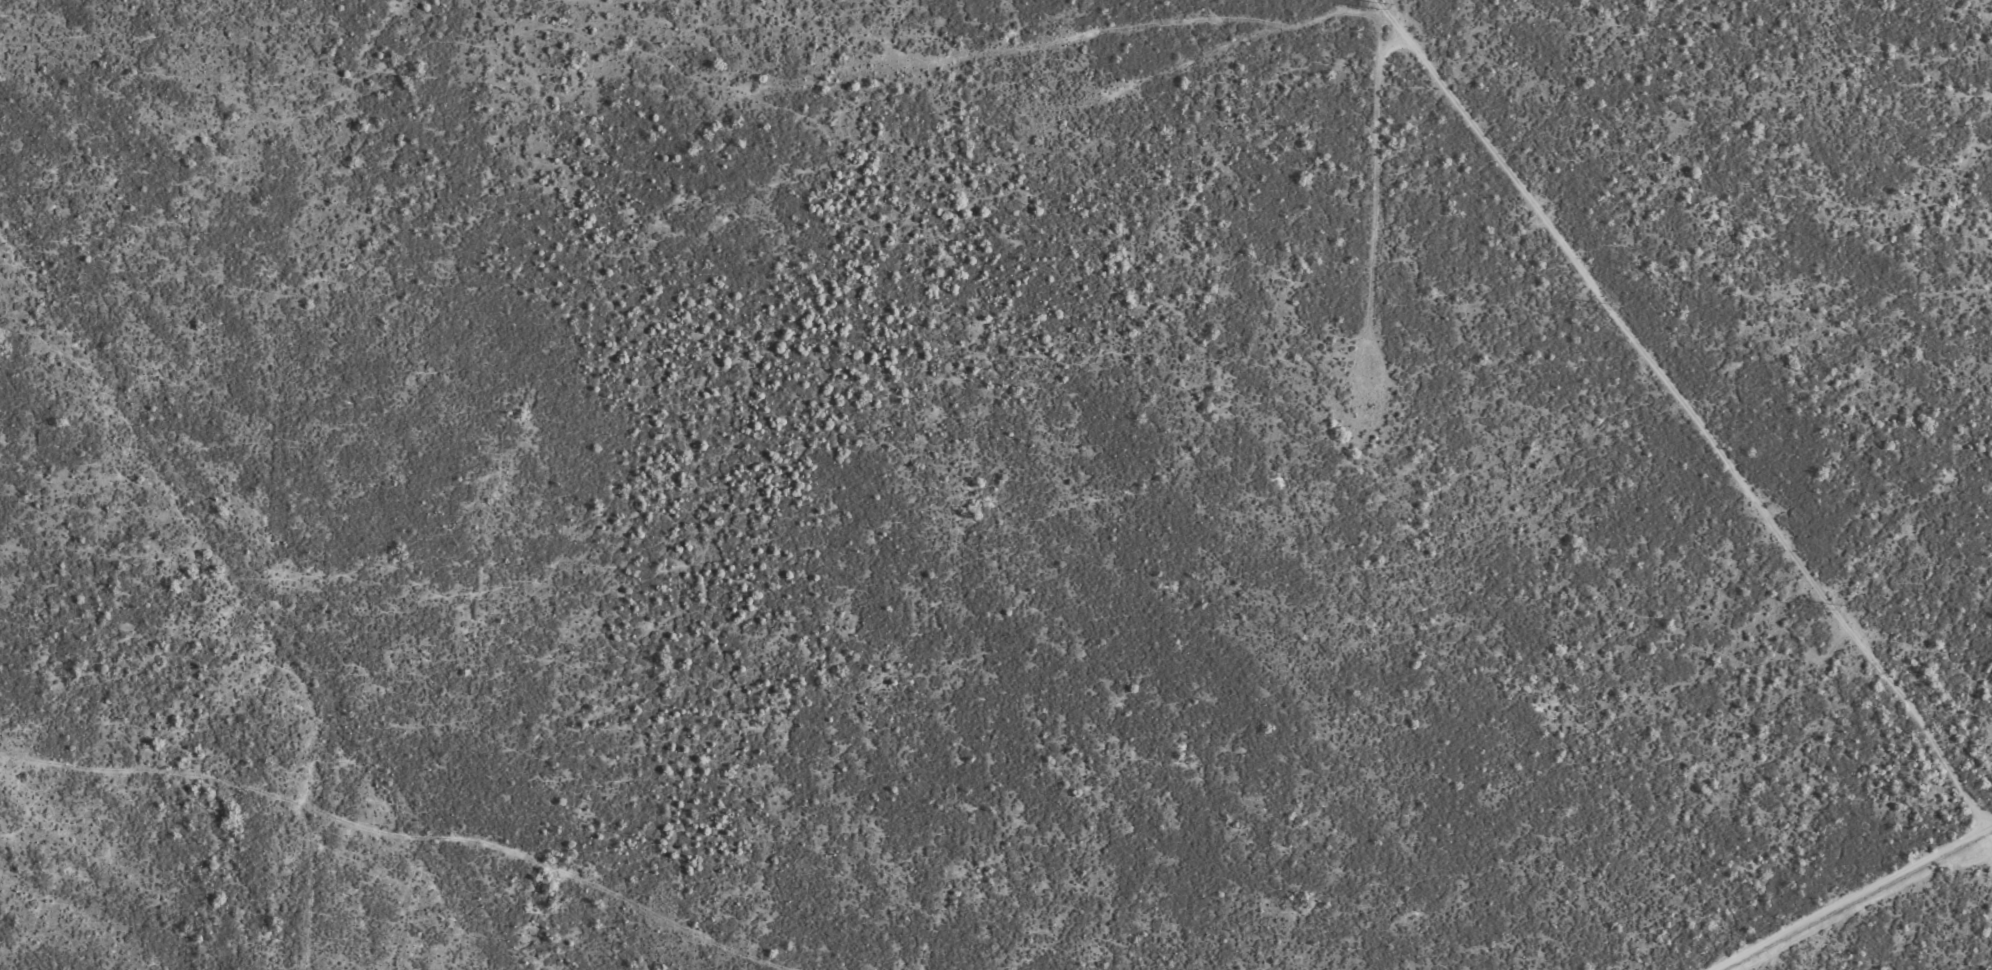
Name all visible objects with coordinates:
power tower: (1380, 7)
power tower: (1606, 308)
power tower: (1831, 610)

